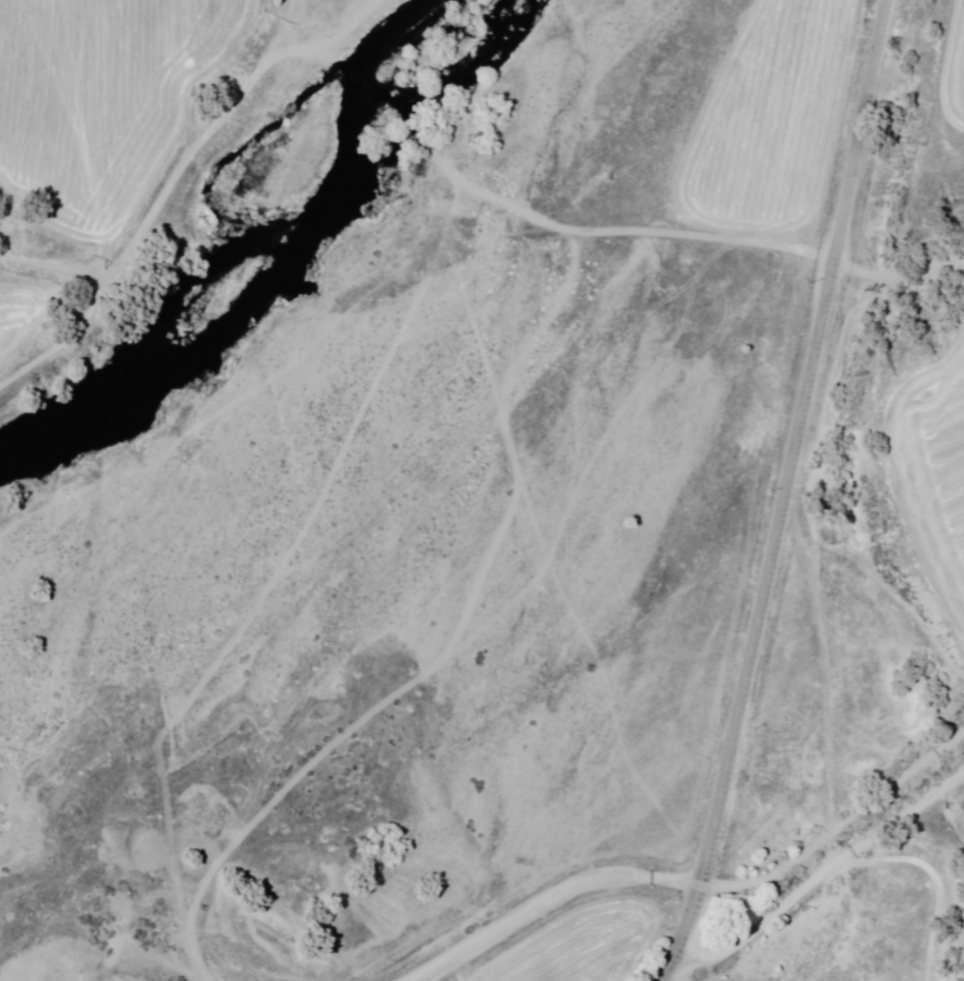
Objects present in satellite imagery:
river: (513, 6)
river: (492, 31)
crop: (942, 83)
river: (266, 292)
road: (781, 493)
road: (838, 827)
storage tank: (761, 851)
road: (821, 875)
road: (546, 901)

